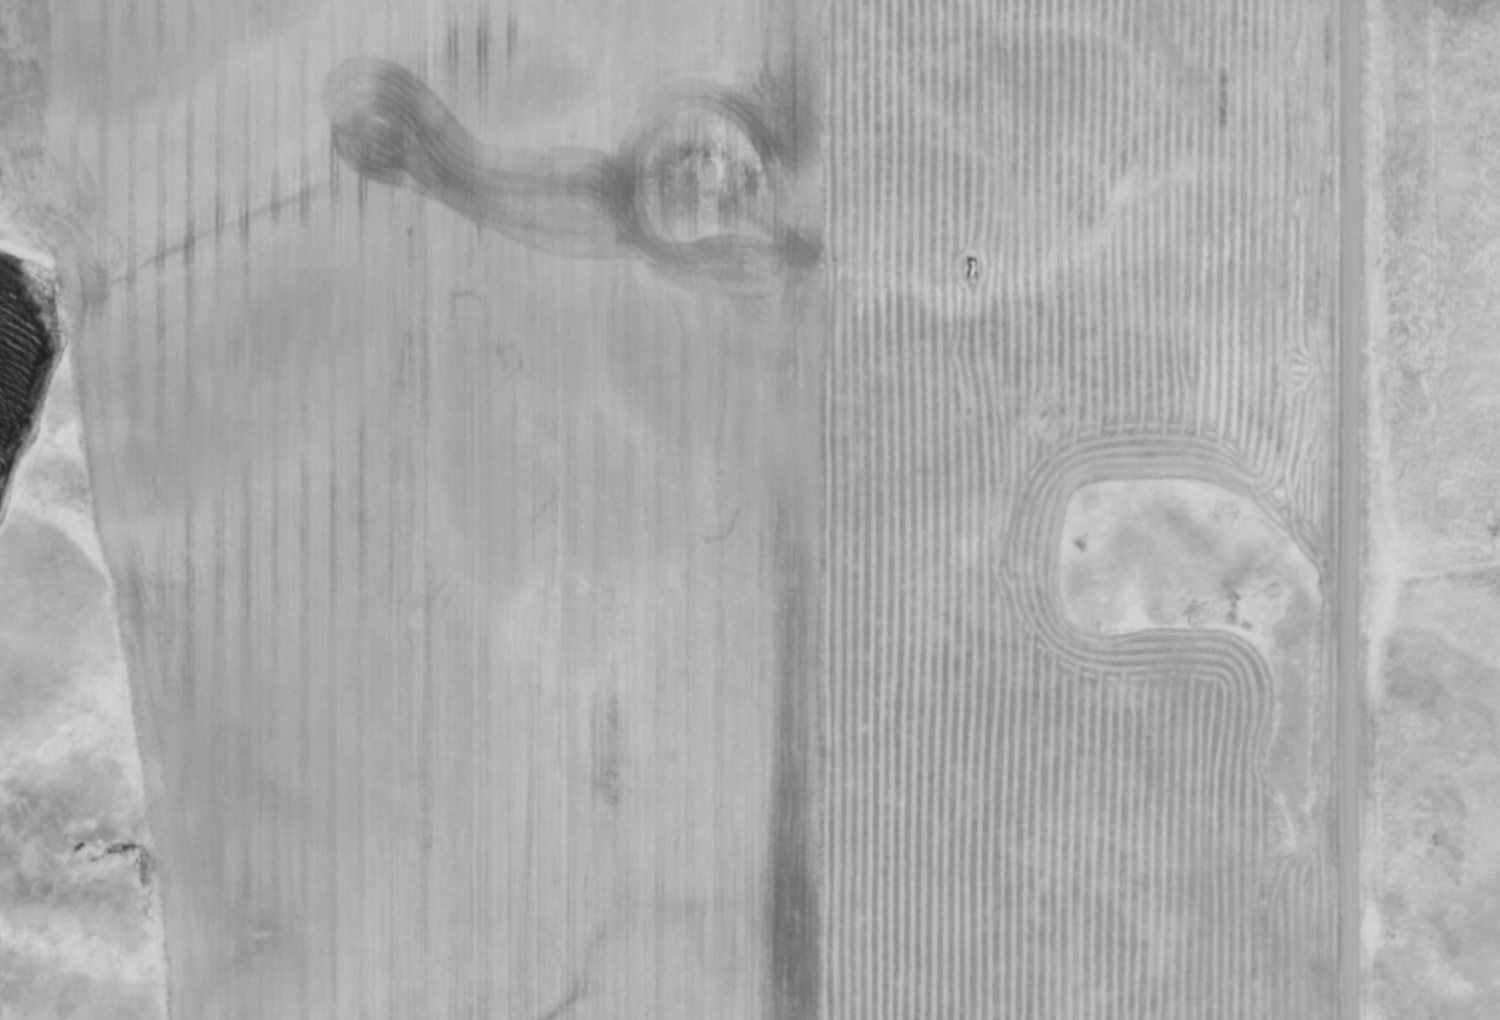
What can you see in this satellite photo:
road: (1354, 509)

